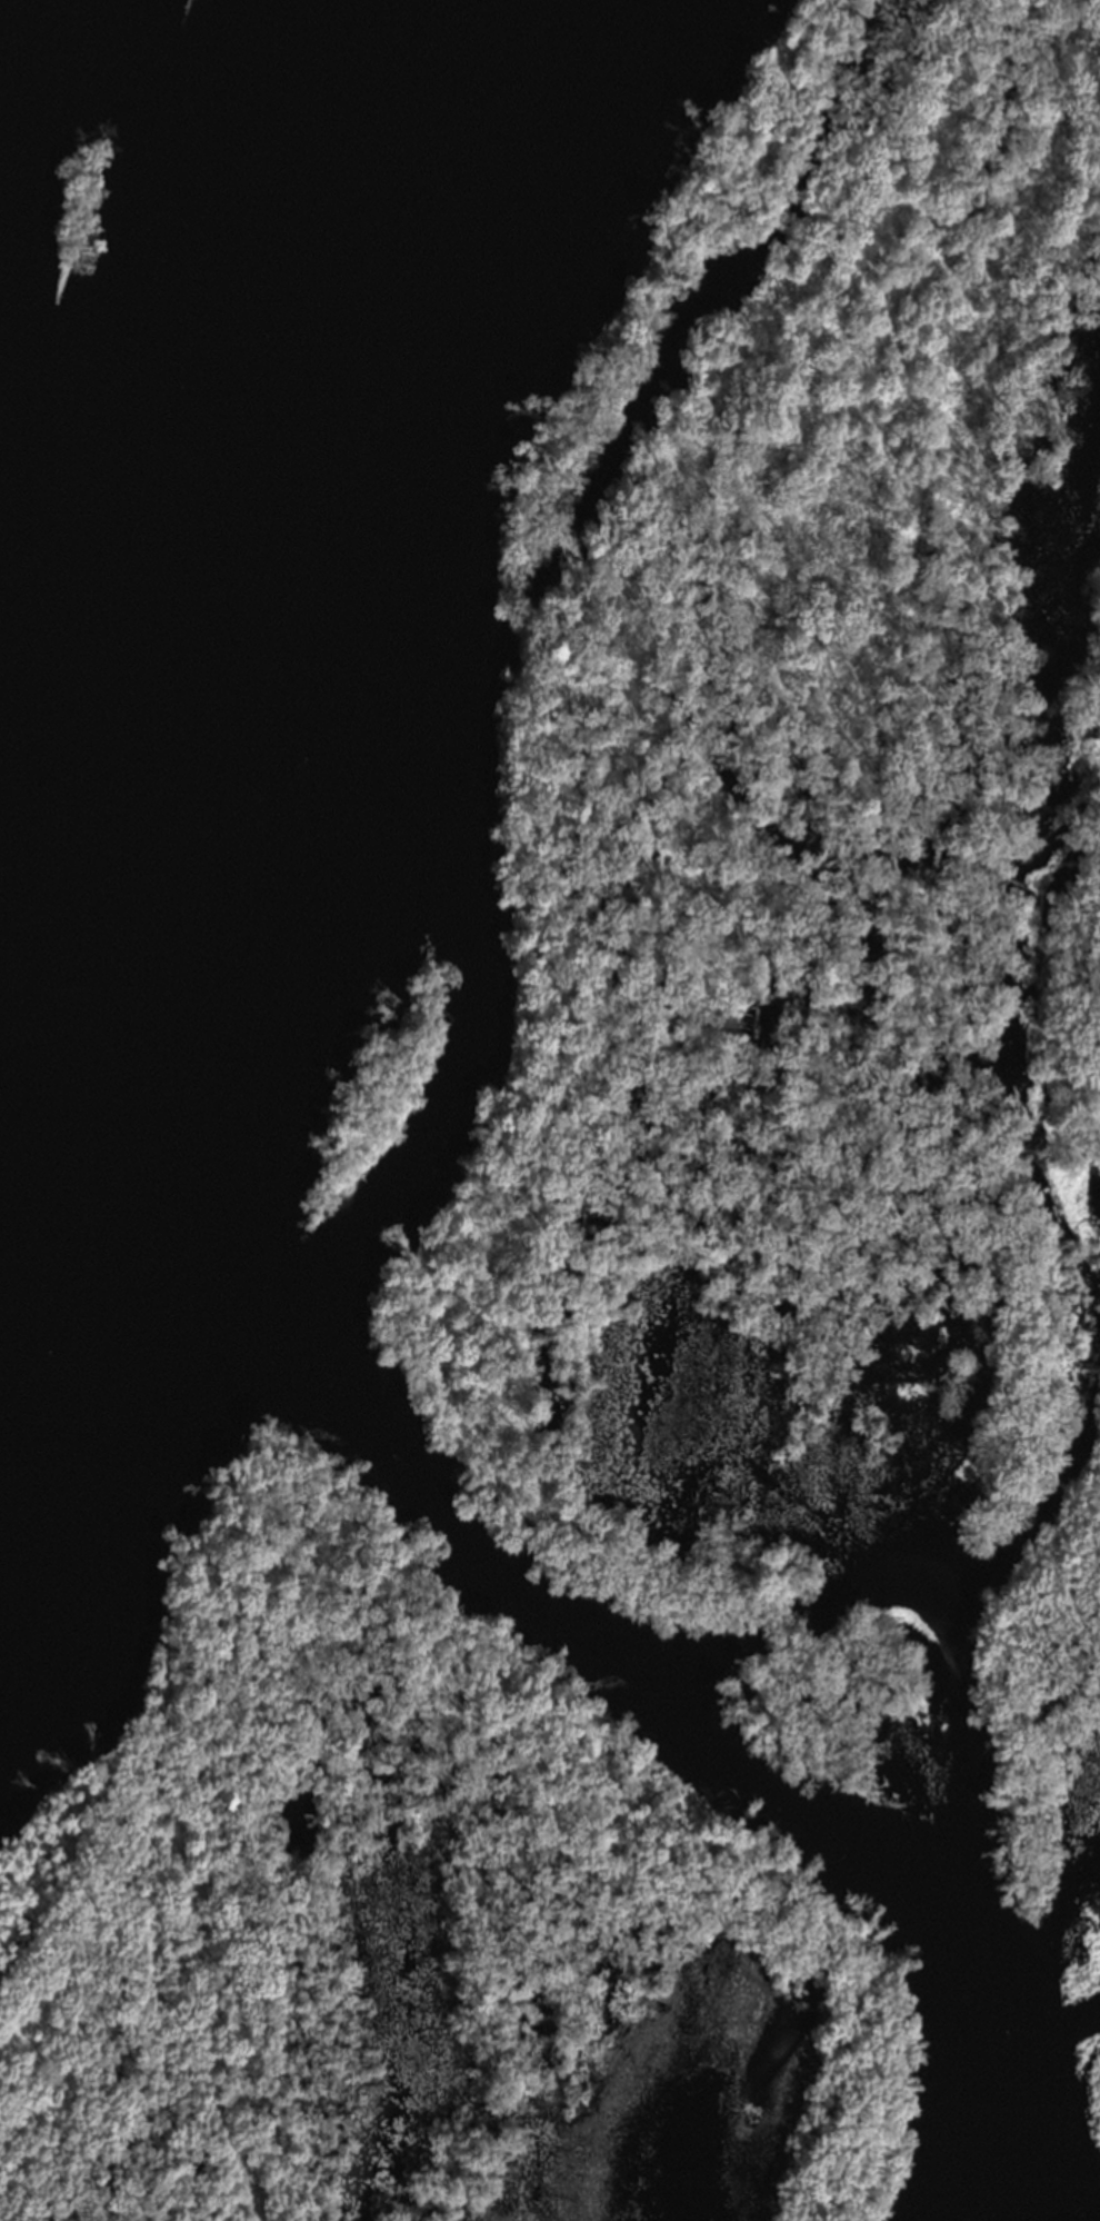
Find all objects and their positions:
river: (273, 481)

